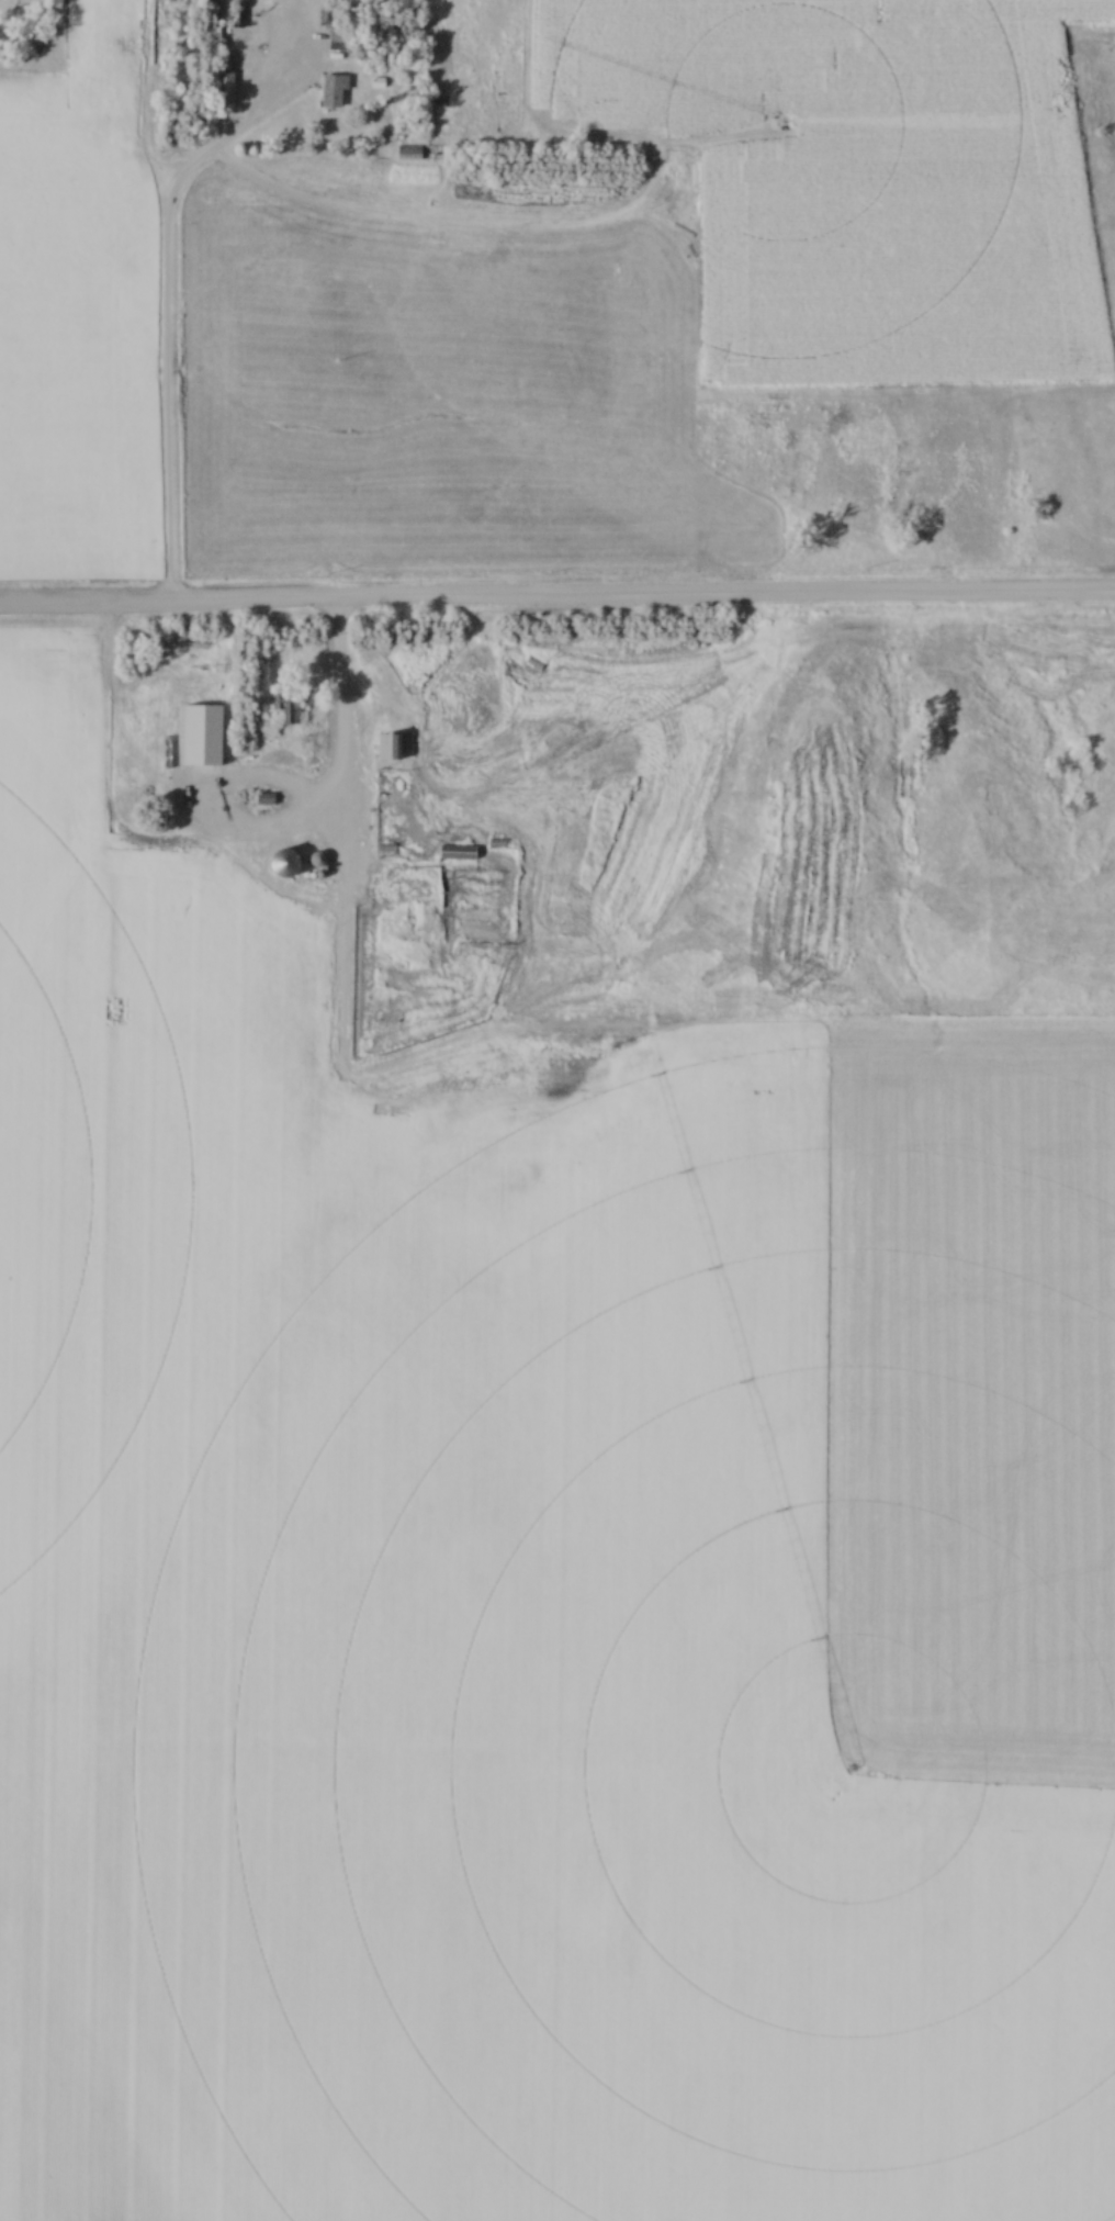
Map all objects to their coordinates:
building: (337, 42)
building: (225, 90)
building: (334, 90)
building: (408, 153)
road: (165, 328)
road: (556, 602)
building: (286, 706)
building: (386, 745)
building: (223, 755)
building: (457, 853)
building: (290, 864)

